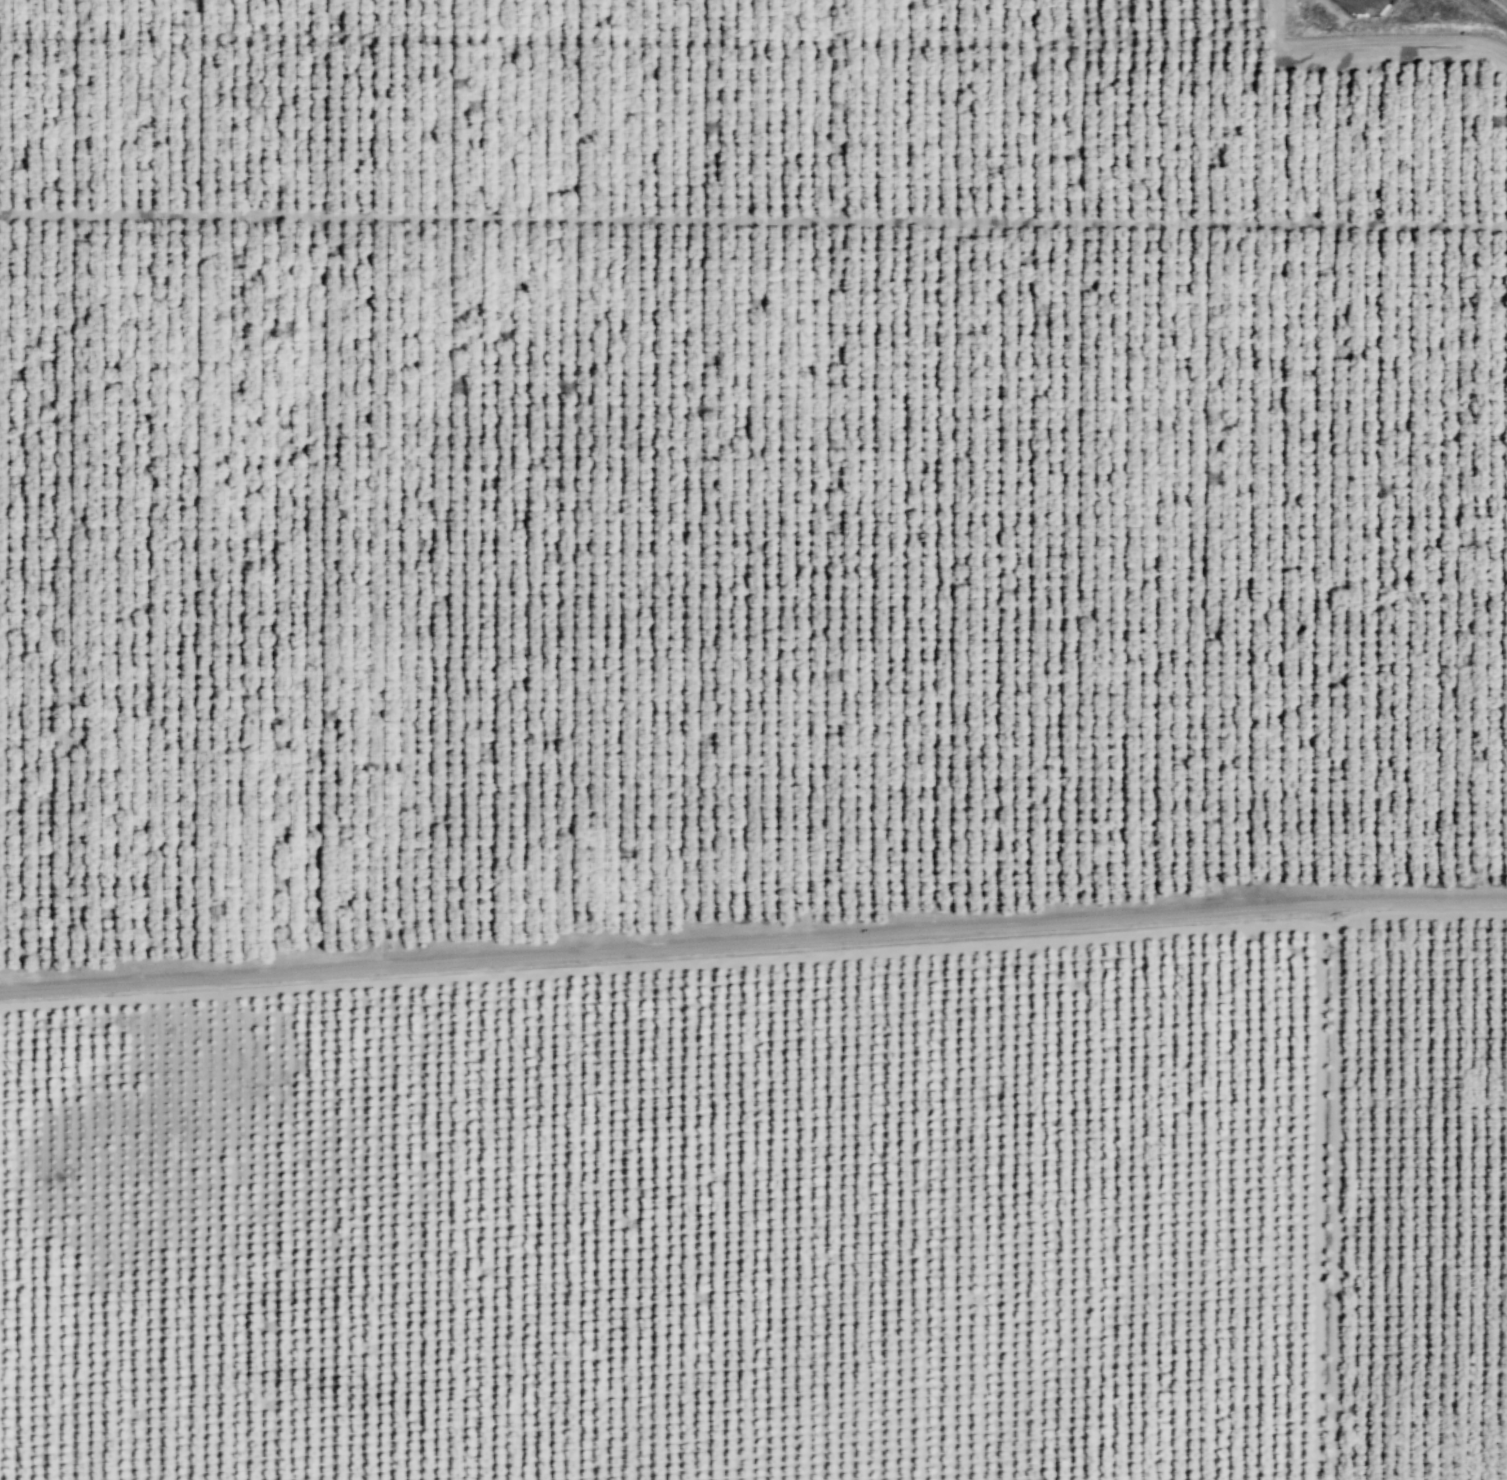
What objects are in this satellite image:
road: (1505, 1)
road: (1373, 42)
road: (1420, 914)
road: (1327, 926)
road: (753, 941)
road: (659, 966)
road: (1318, 1203)
road: (1333, 1203)

